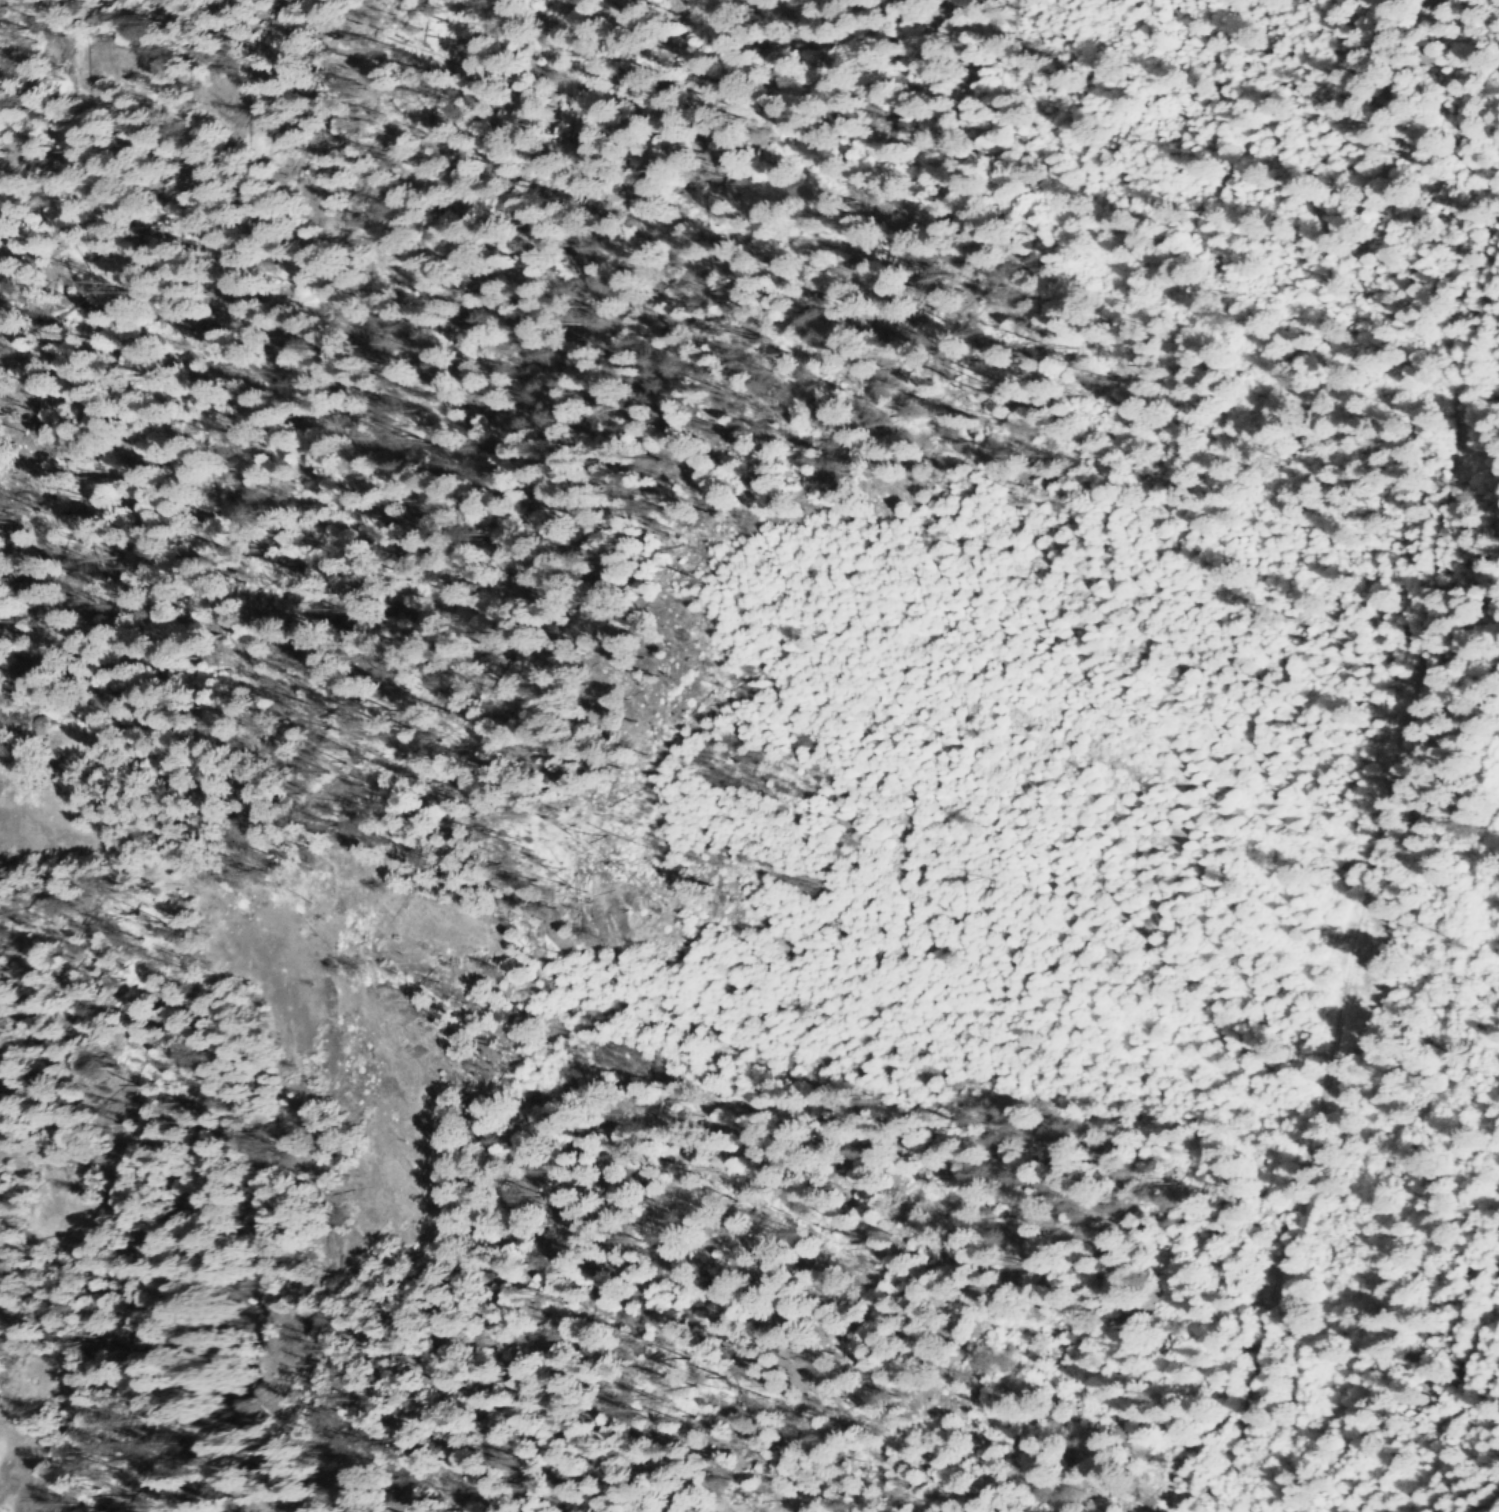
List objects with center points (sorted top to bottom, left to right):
road: (1366, 894)

